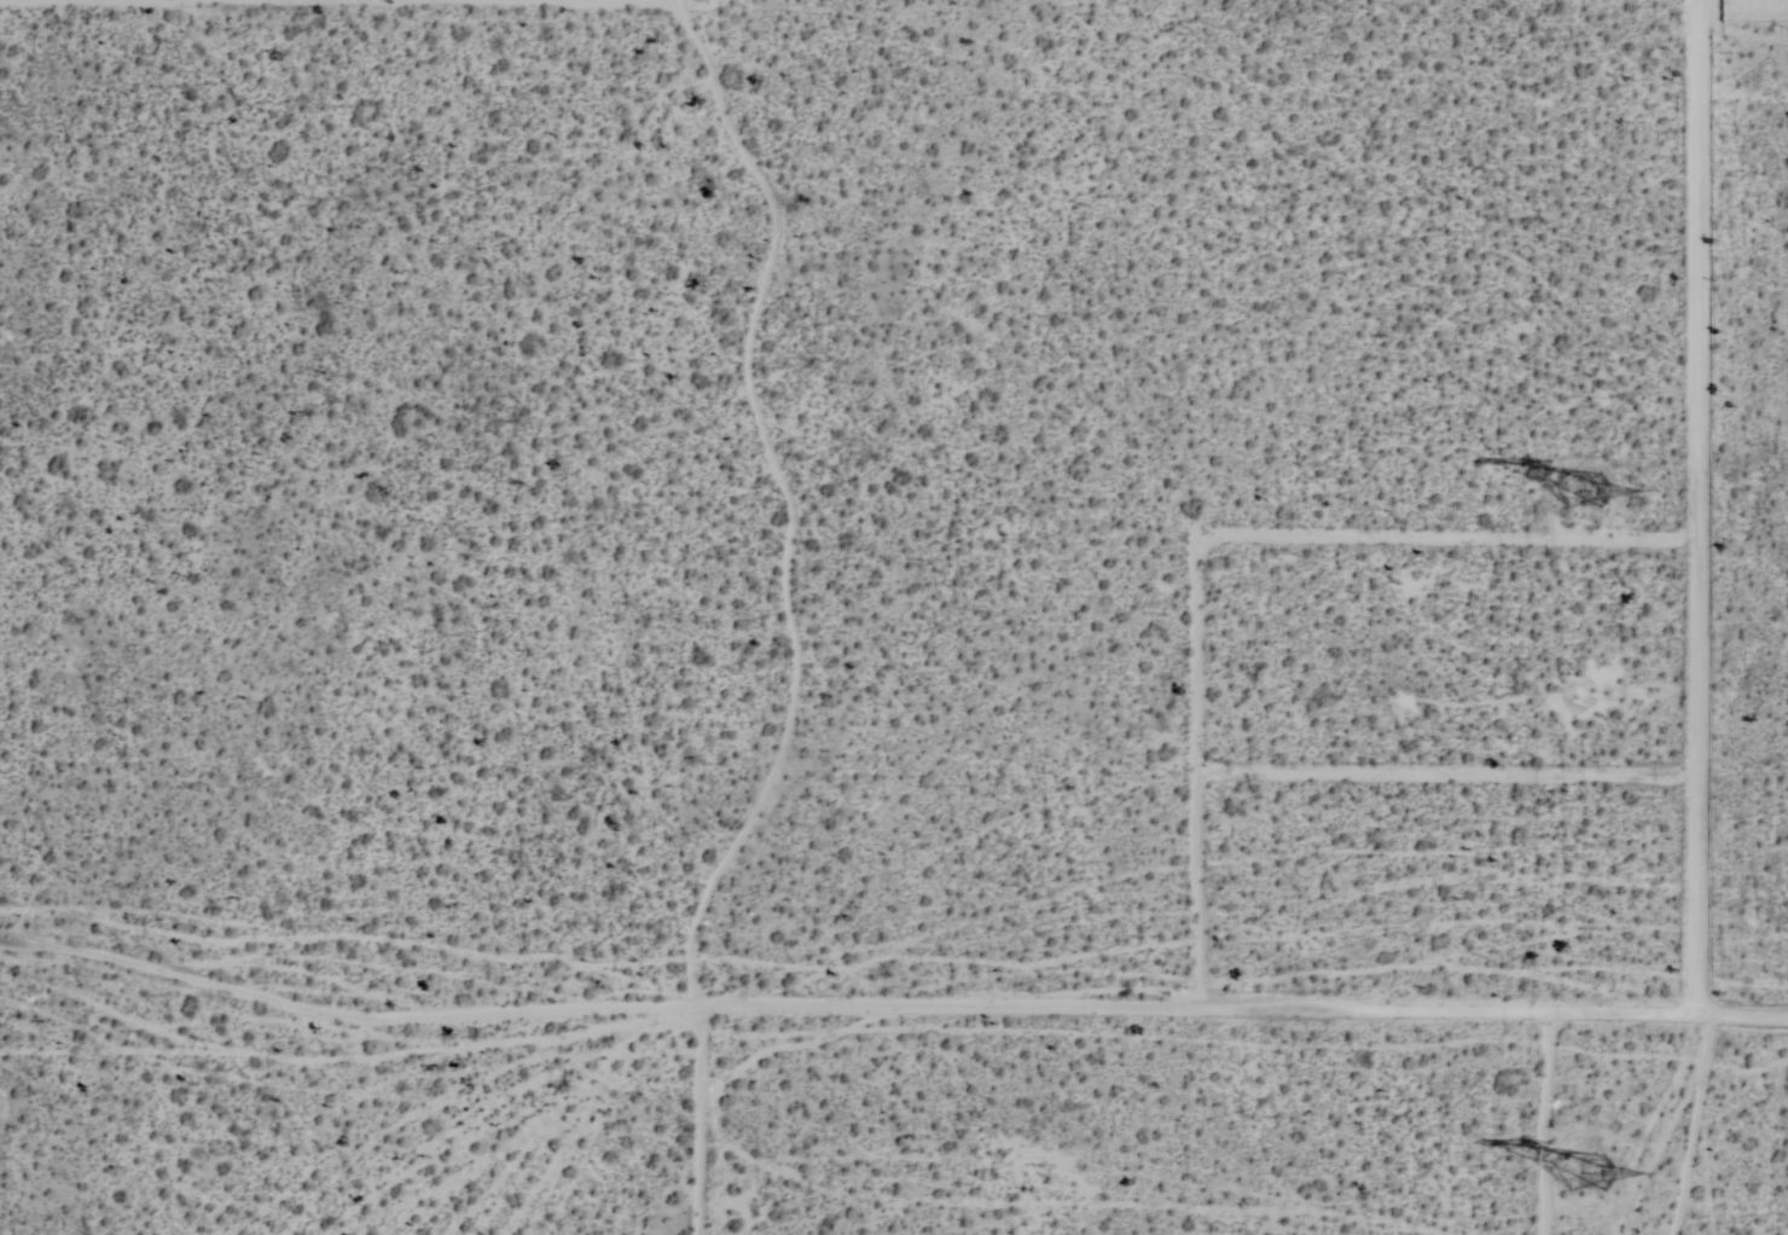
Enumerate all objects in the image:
road: (536, 1)
road: (678, 1)
power tower: (1581, 491)
road: (1457, 540)
road: (1707, 617)
road: (1453, 775)
road: (1202, 777)
road: (1248, 1017)
power tower: (1578, 1173)

